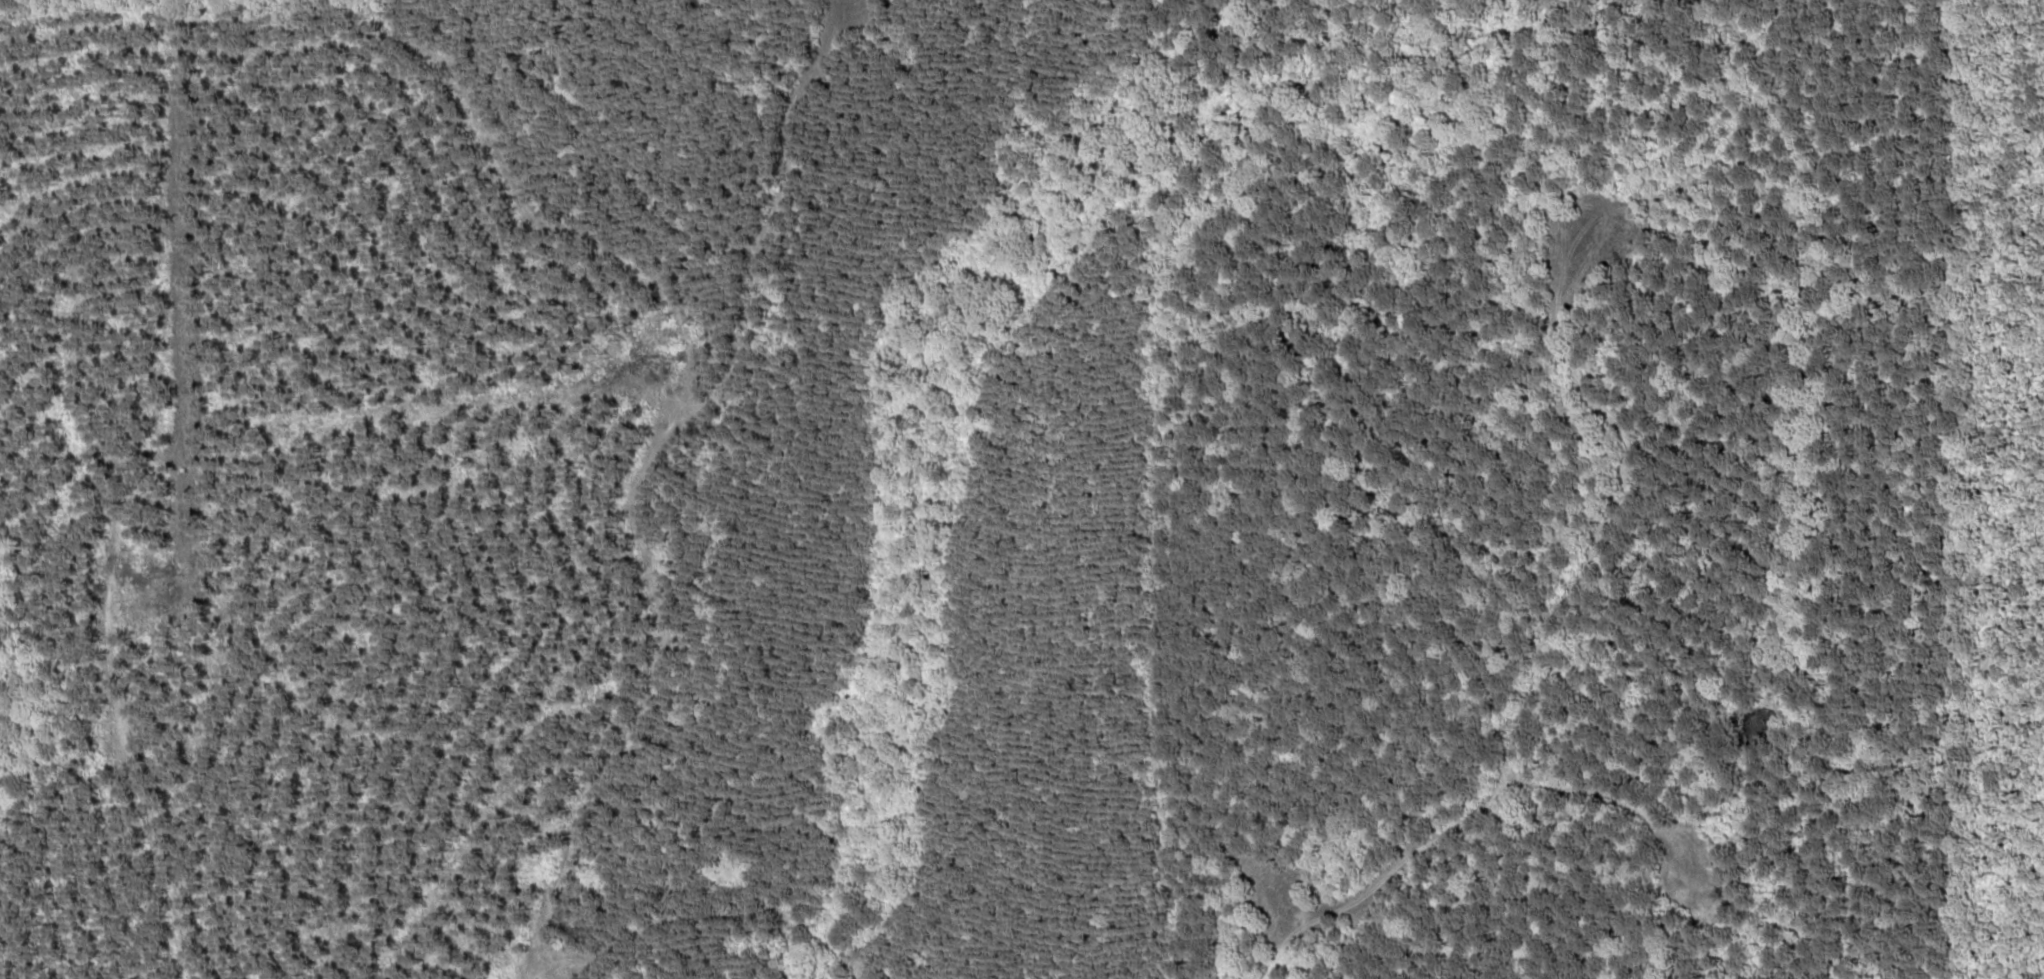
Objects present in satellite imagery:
road: (1870, 633)

